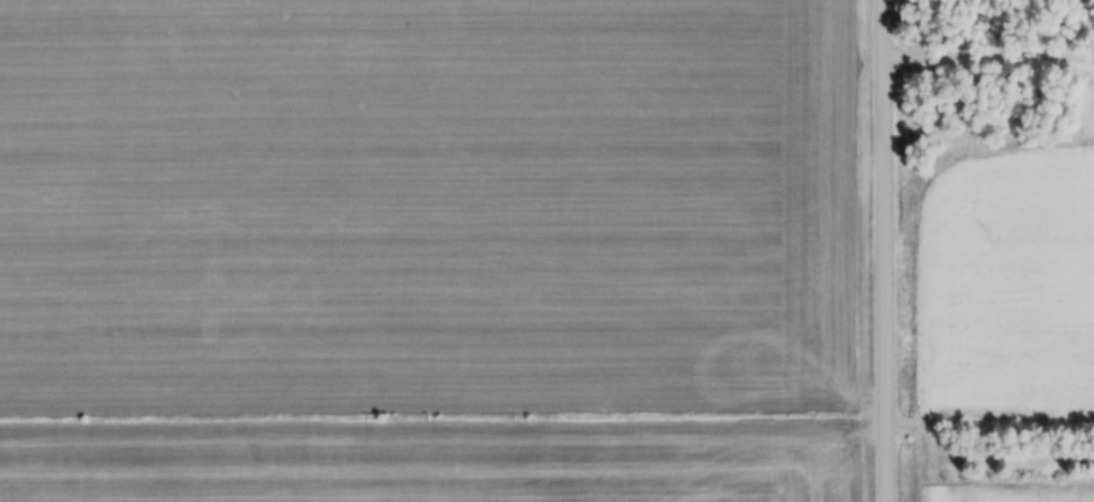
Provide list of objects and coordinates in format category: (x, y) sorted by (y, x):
road: (989, 53)
road: (886, 251)

